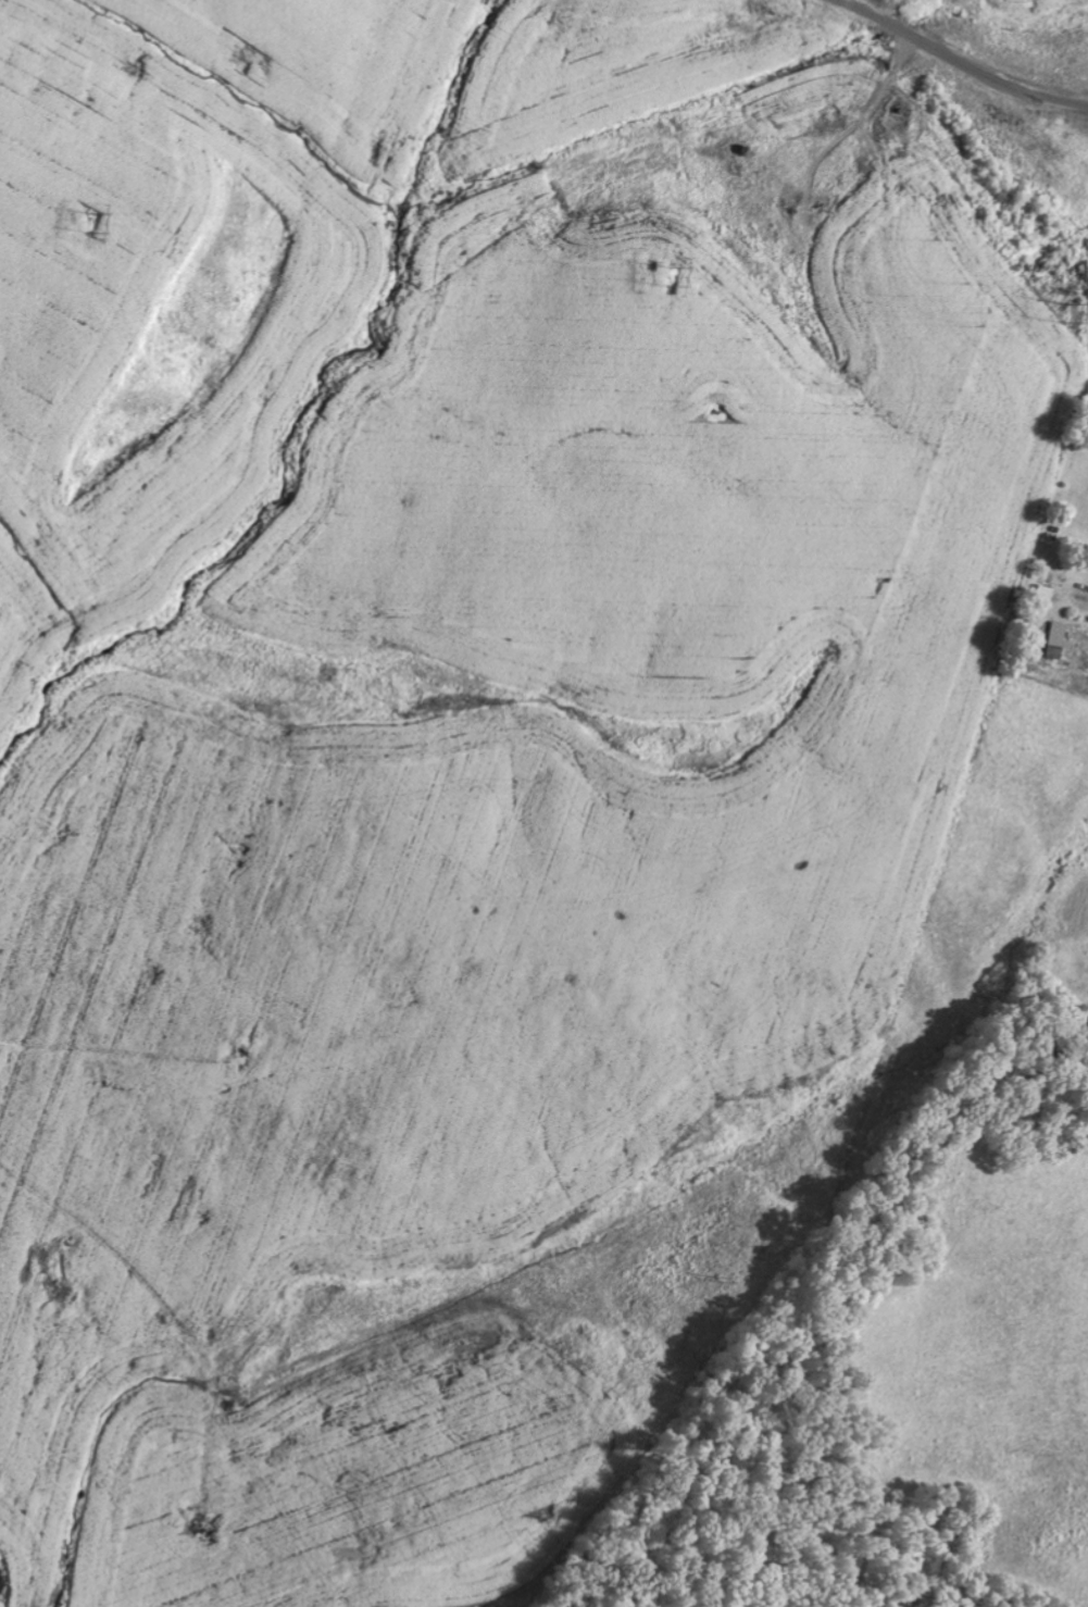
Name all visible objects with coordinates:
road: (961, 62)
power tower: (88, 224)
power tower: (667, 276)
power tower: (1065, 314)

